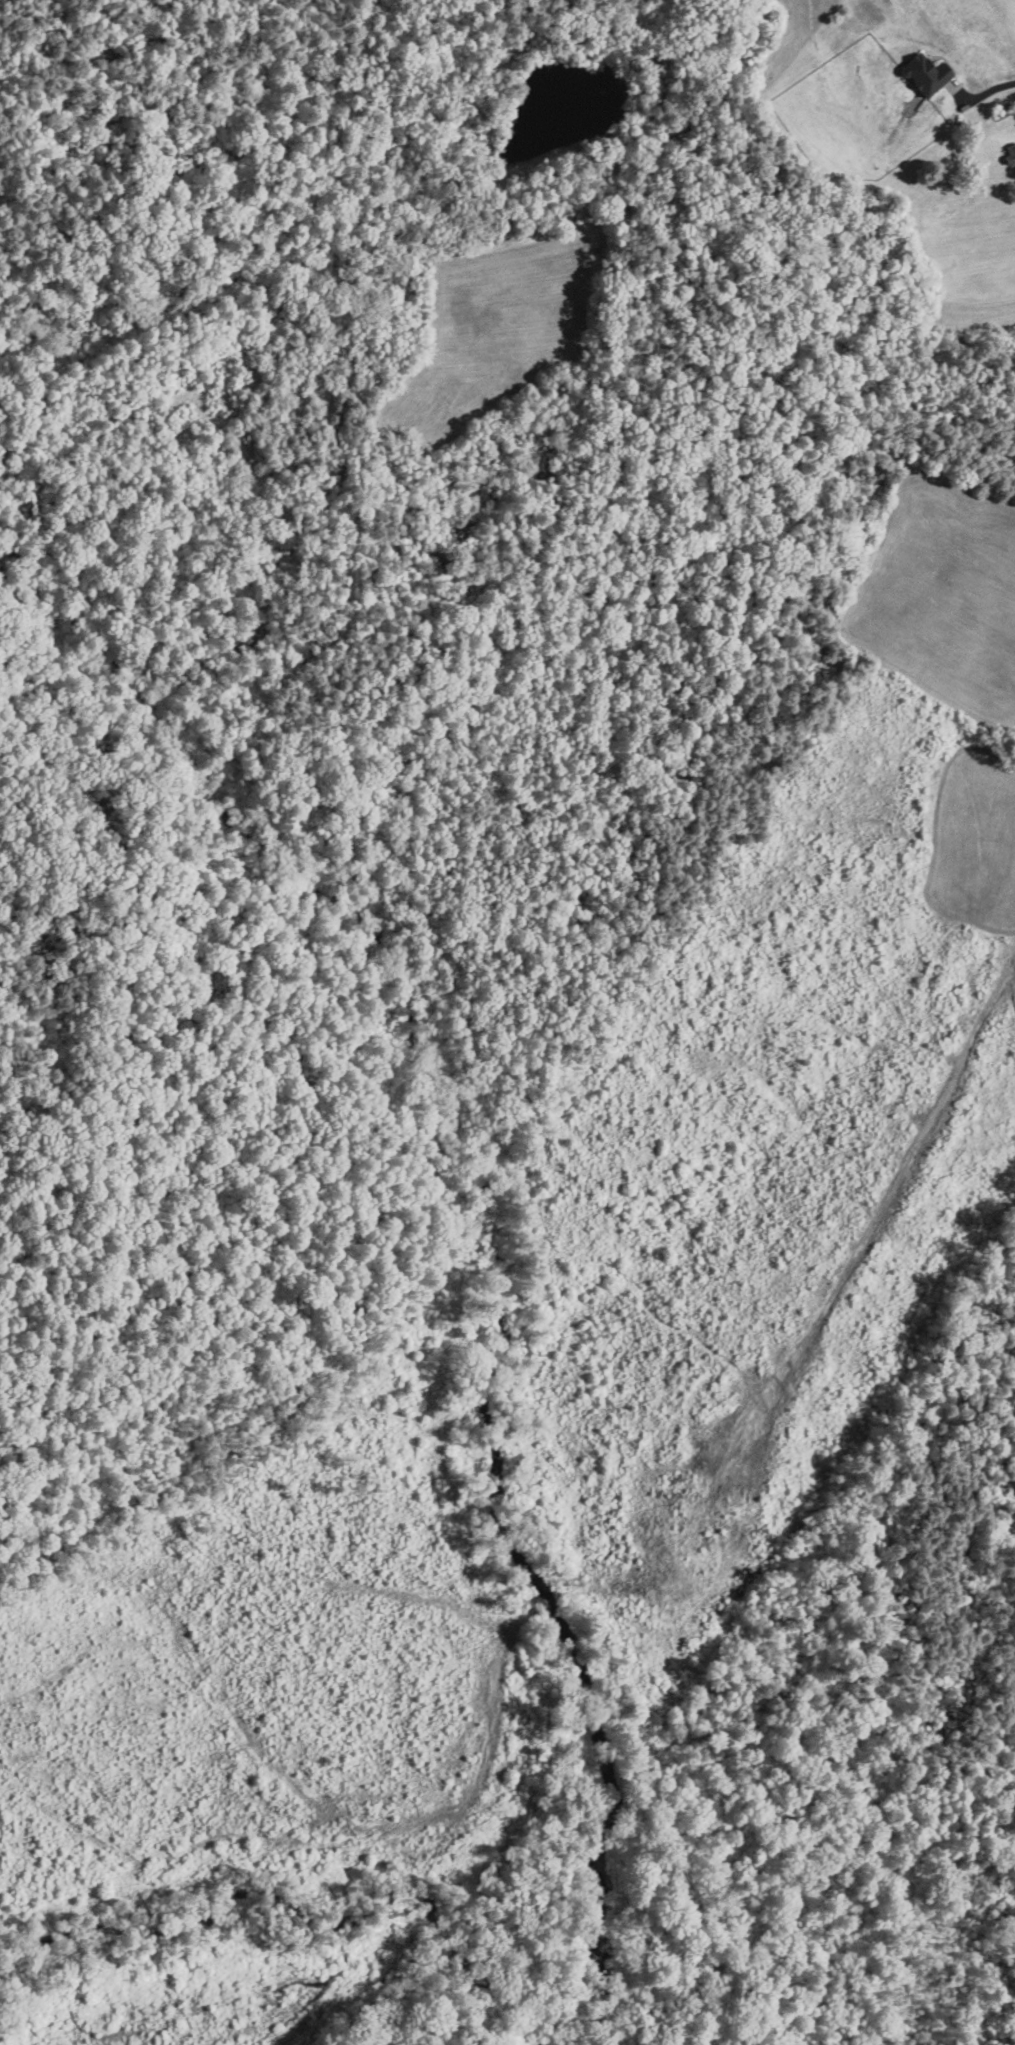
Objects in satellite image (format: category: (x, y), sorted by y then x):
building: (923, 72)
road: (991, 90)
building: (1009, 154)

